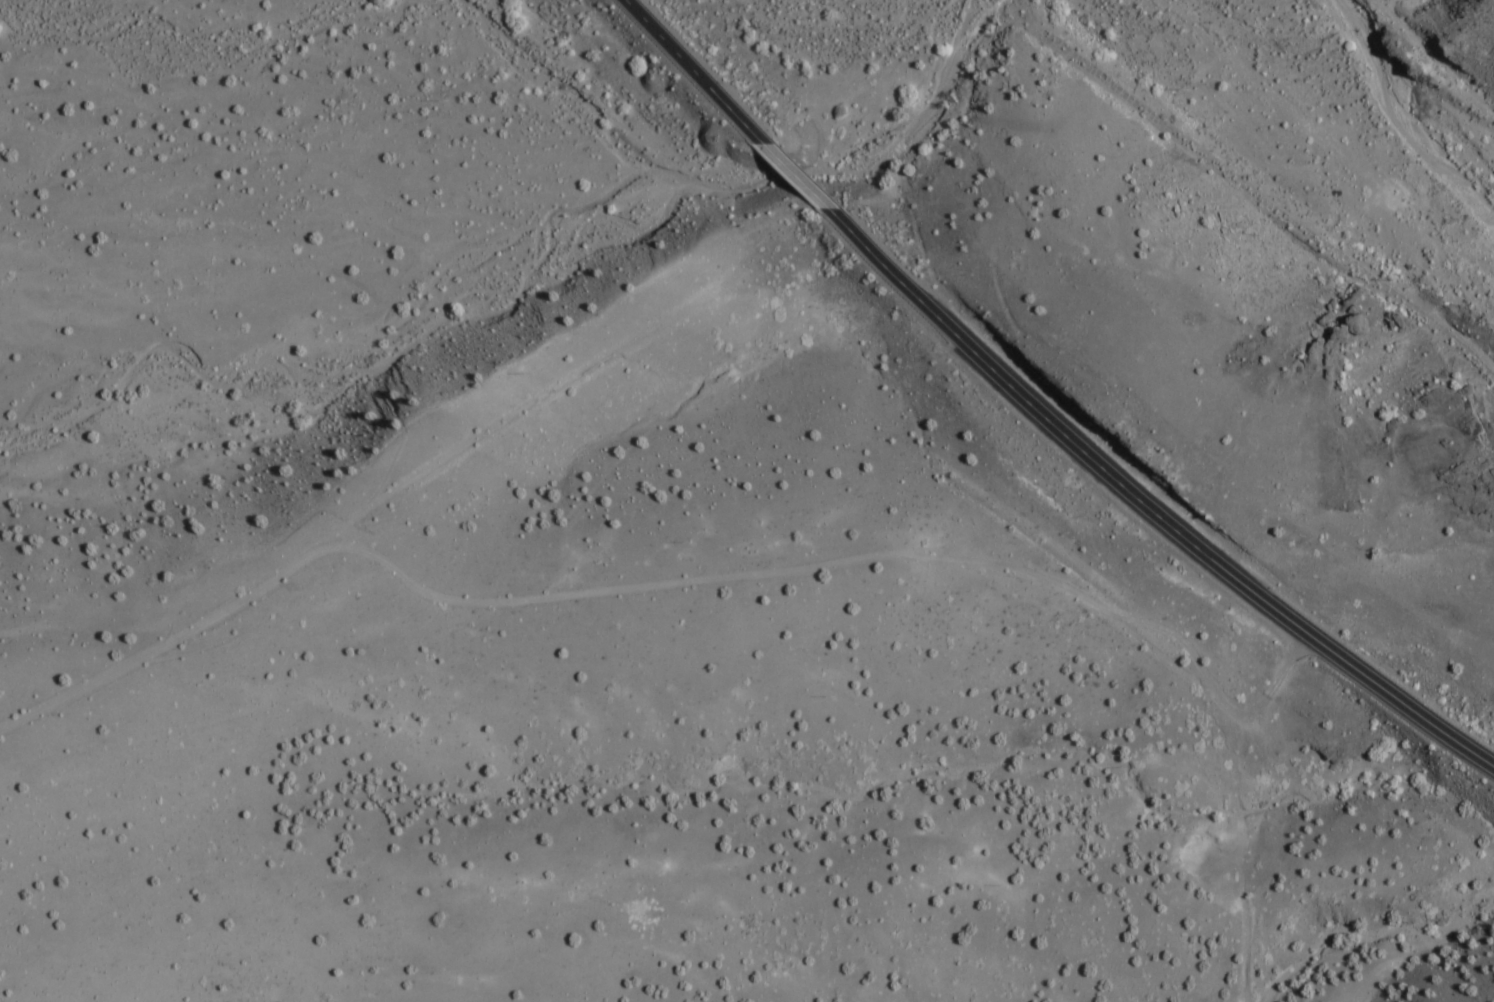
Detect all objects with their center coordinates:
road: (693, 74)
road: (800, 177)
road: (1140, 511)
road: (674, 579)
road: (1248, 857)

